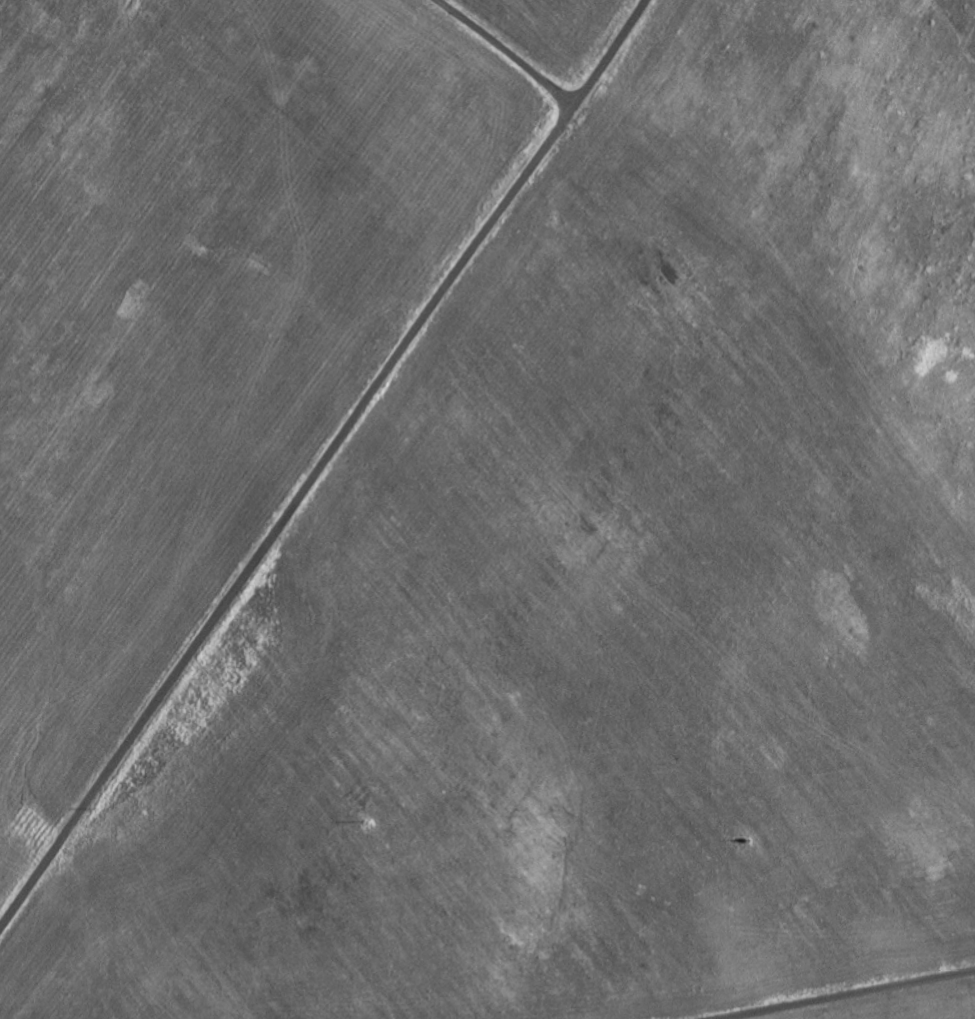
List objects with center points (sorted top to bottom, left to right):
road: (506, 52)
road: (323, 463)
road: (846, 992)

